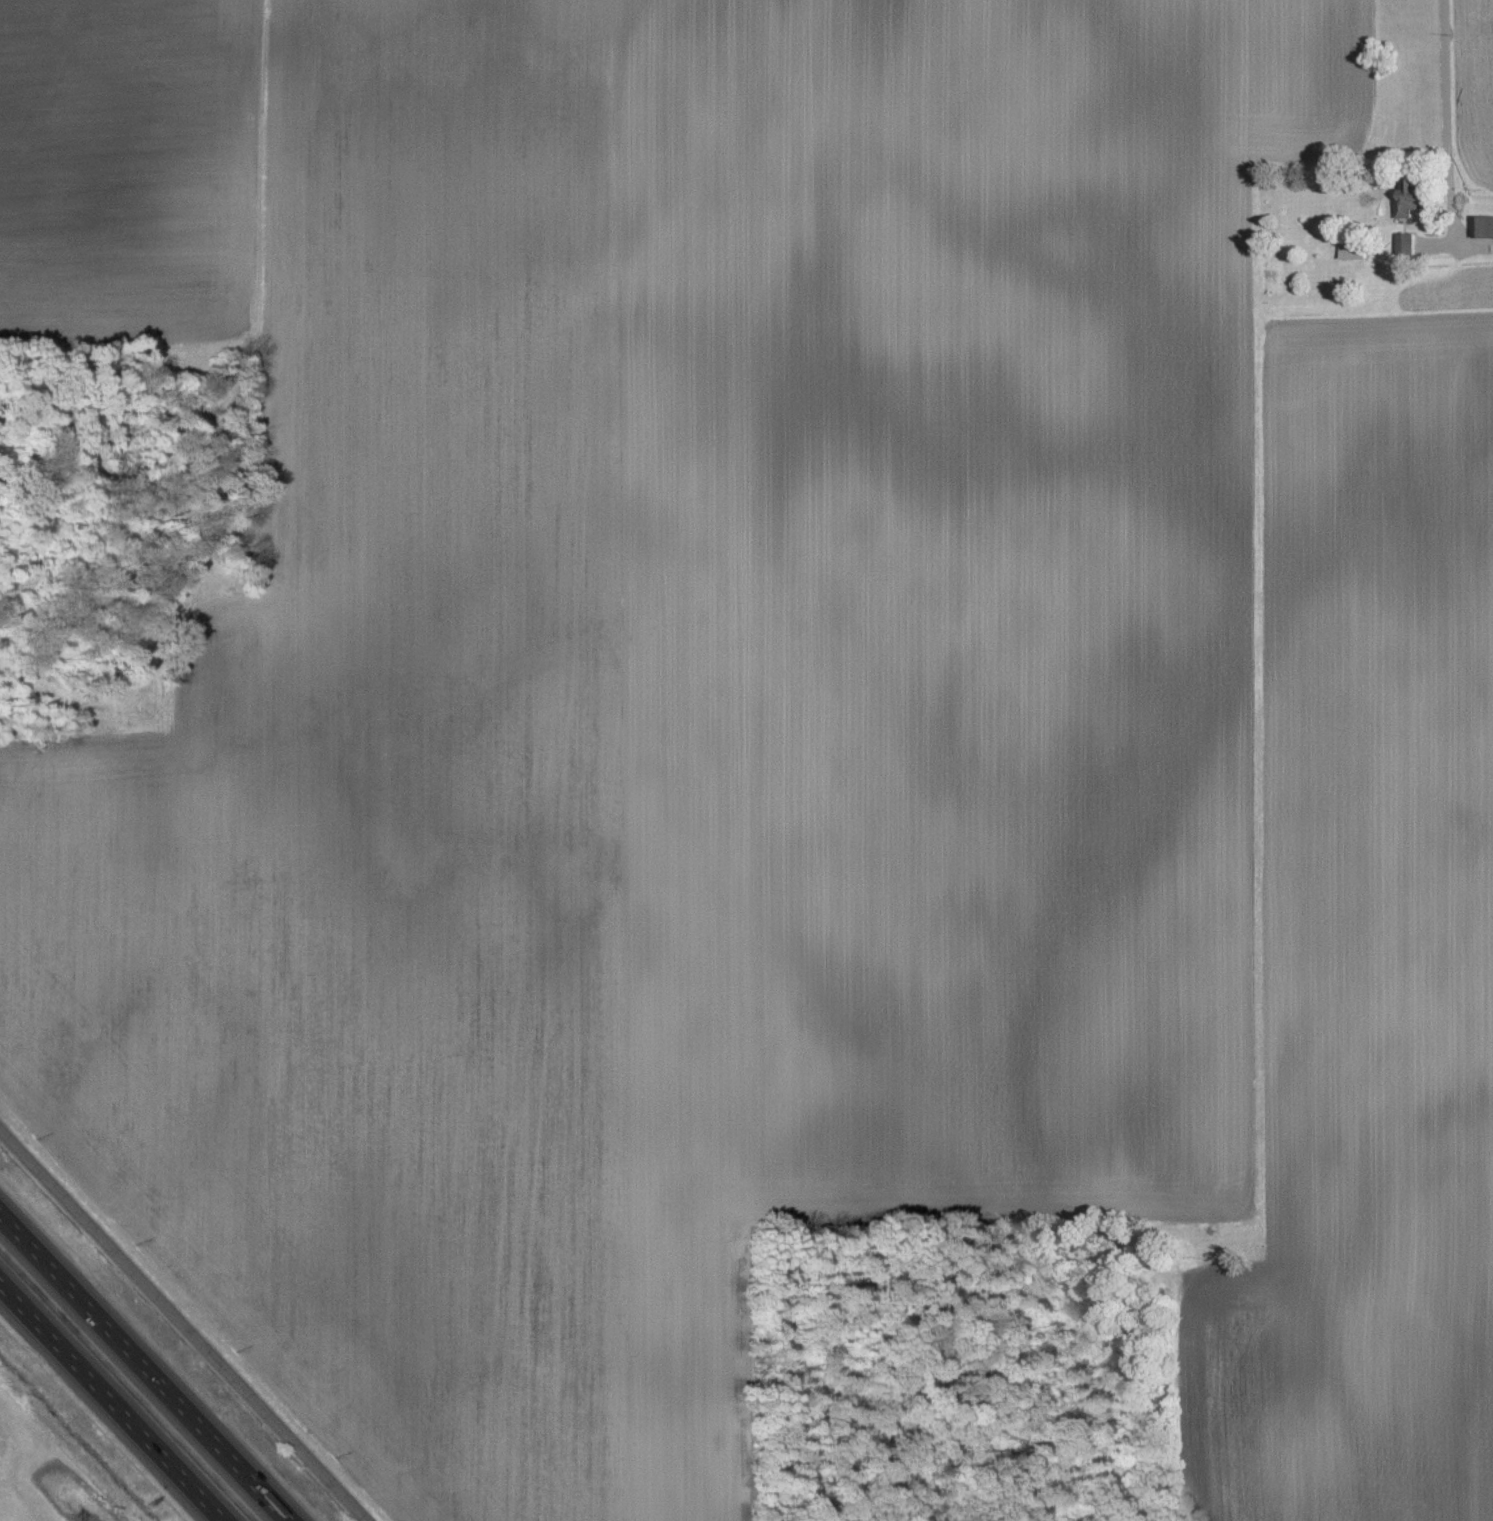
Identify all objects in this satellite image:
road: (1448, 113)
building: (1413, 200)
building: (1483, 227)
building: (1407, 244)
road: (184, 1325)
road: (146, 1366)
road: (109, 1405)

